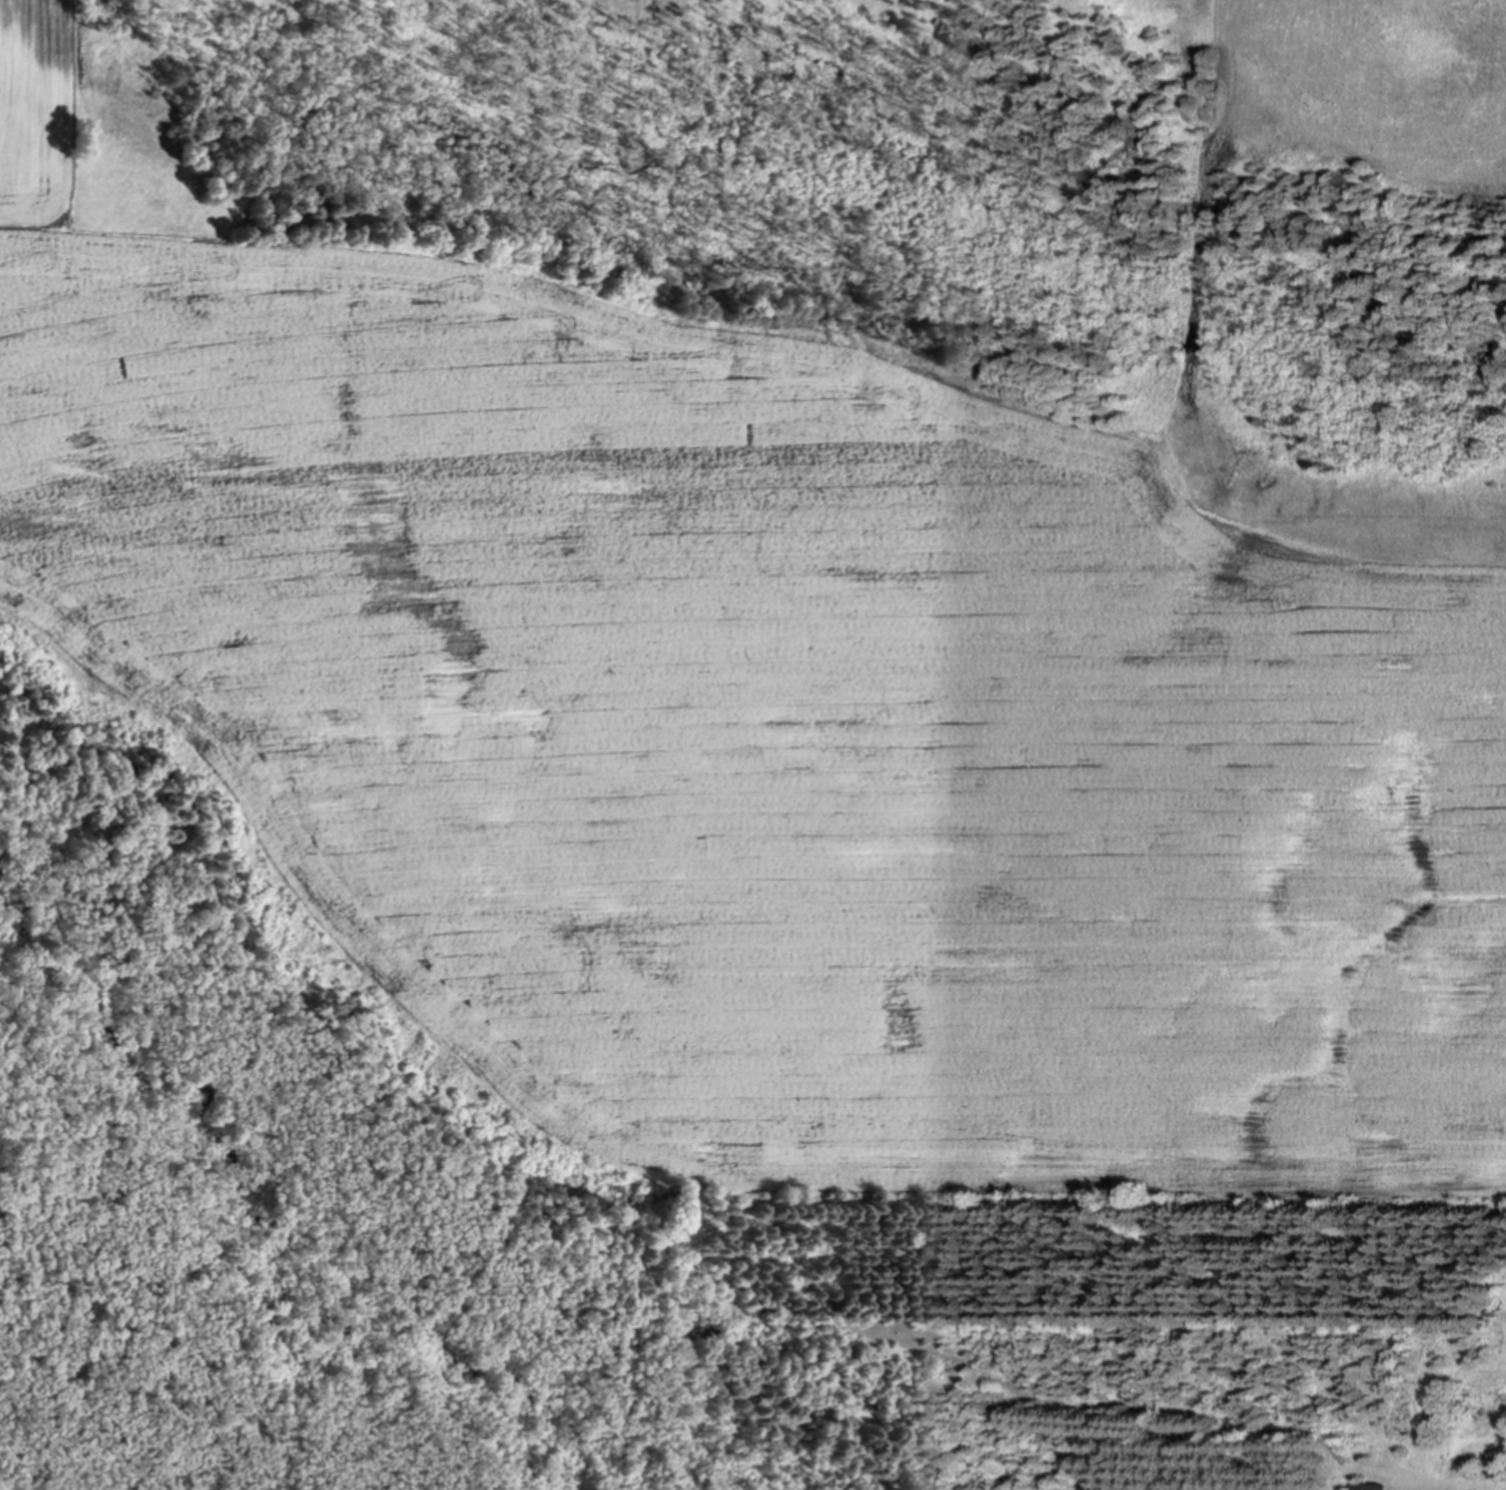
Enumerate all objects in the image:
building: (1500, 1459)
building: (1369, 1485)

